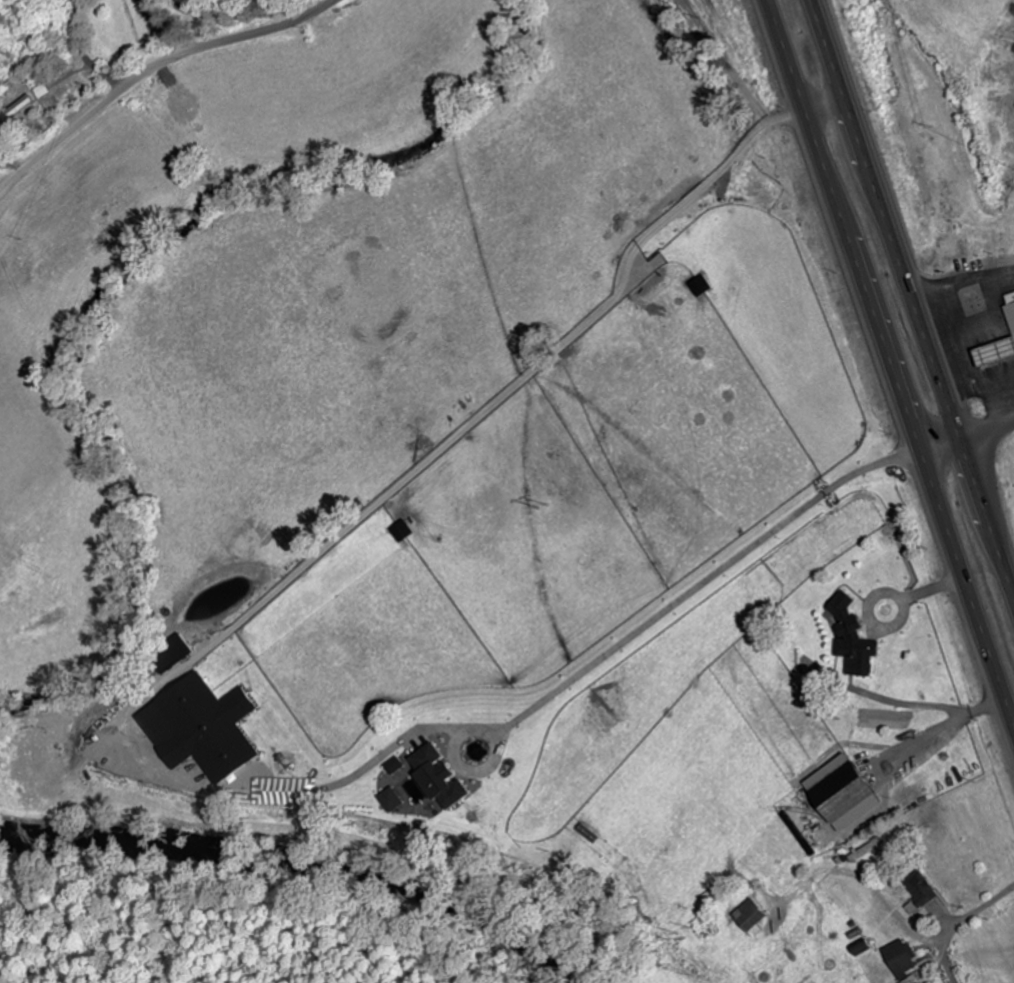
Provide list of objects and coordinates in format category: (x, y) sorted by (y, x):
road: (152, 71)
building: (704, 287)
road: (914, 292)
building: (1013, 298)
building: (1013, 310)
building: (1002, 353)
road: (893, 363)
road: (990, 432)
road: (945, 451)
building: (407, 533)
building: (856, 639)
building: (208, 729)
building: (402, 766)
building: (448, 778)
building: (849, 793)
building: (398, 801)
building: (926, 893)
building: (757, 917)
building: (867, 949)
building: (906, 960)

